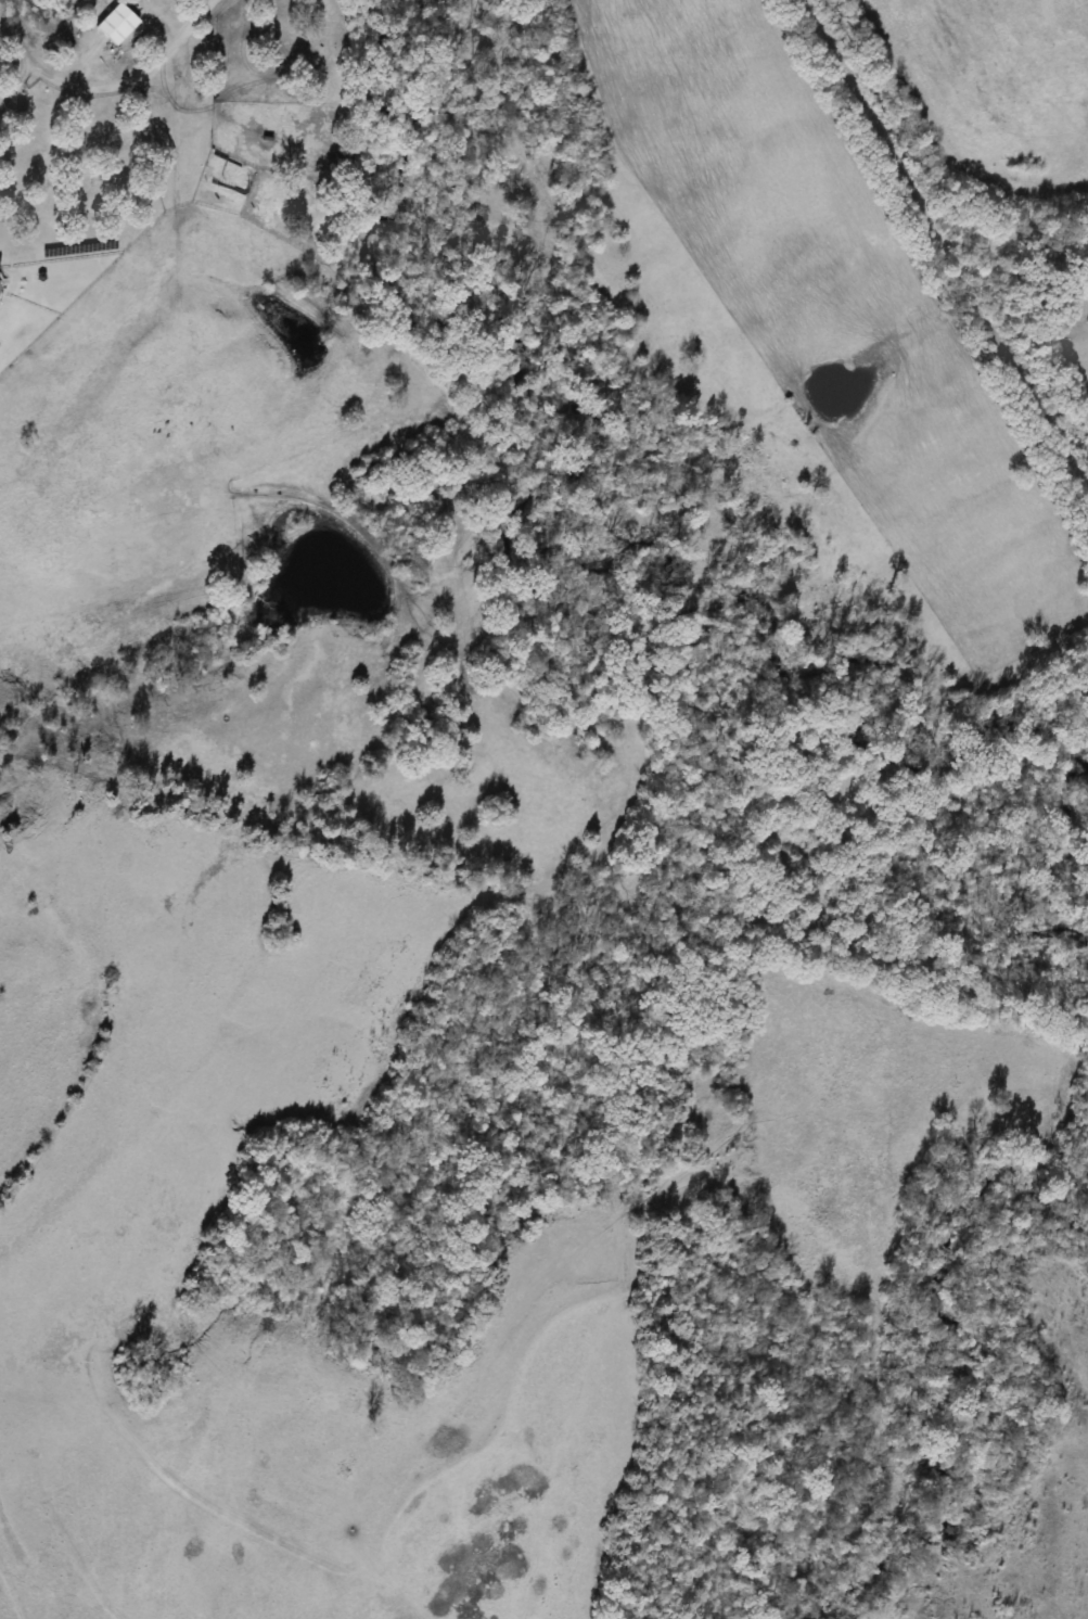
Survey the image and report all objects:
building: (115, 22)
road: (113, 86)
road: (18, 91)
railway: (944, 243)

